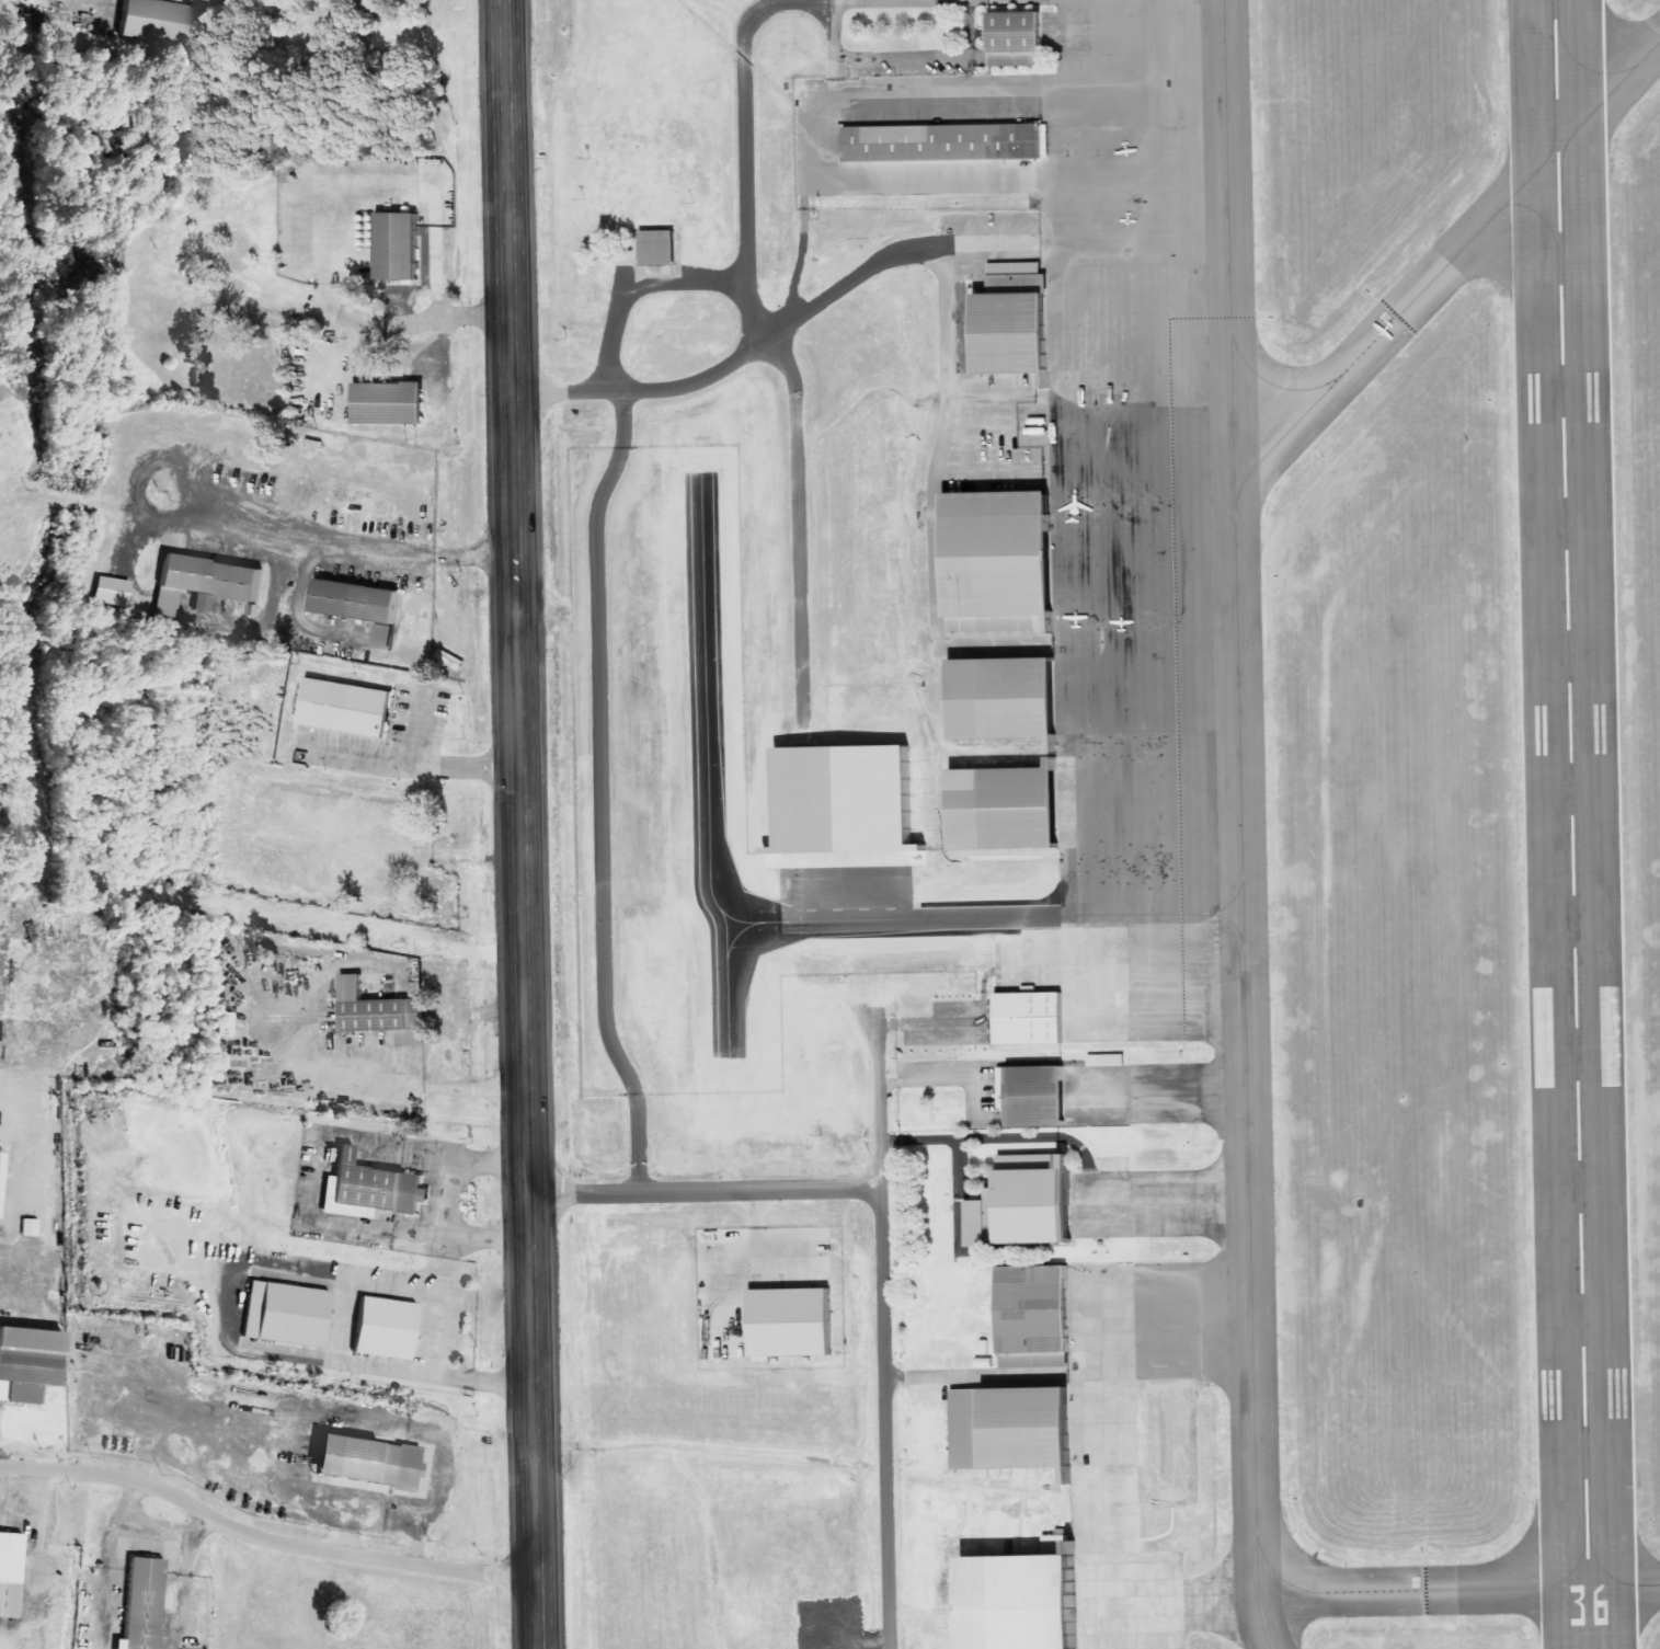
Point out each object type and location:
building: (234, 1)
building: (164, 21)
road: (835, 38)
airport hangar: (1017, 38)
building: (1017, 38)
road: (909, 58)
airport taxiway: (1609, 95)
airport hangar: (947, 142)
building: (947, 142)
building: (398, 245)
road: (989, 248)
building: (654, 249)
airport taxiway: (1396, 319)
airport hangar: (1015, 323)
building: (1015, 323)
road: (742, 358)
road: (989, 394)
building: (389, 403)
road: (980, 427)
parking lot: (992, 437)
road: (943, 444)
road: (986, 472)
airport hangar: (1001, 557)
building: (1001, 557)
building: (202, 582)
building: (116, 591)
building: (358, 599)
airport apron: (1106, 600)
building: (388, 637)
road: (994, 638)
airport hangar: (1022, 700)
building: (1022, 700)
building: (353, 708)
airport: (1157, 747)
building: (851, 808)
building: (1014, 808)
road: (524, 824)
airport runway: (1572, 824)
airport taxiway: (1241, 825)
building: (381, 1014)
airport hangar: (1030, 1018)
building: (1030, 1018)
building: (228, 1024)
road: (929, 1024)
building: (1106, 1061)
road: (945, 1083)
airport hangar: (1033, 1096)
building: (1033, 1096)
road: (879, 1099)
road: (994, 1138)
road: (977, 1177)
building: (375, 1183)
building: (3, 1188)
road: (961, 1195)
airport hangar: (1030, 1207)
building: (1030, 1207)
building: (33, 1227)
road: (972, 1238)
road: (881, 1244)
building: (291, 1313)
airport hangar: (1033, 1317)
building: (1033, 1317)
building: (798, 1324)
building: (385, 1326)
building: (27, 1361)
road: (974, 1376)
building: (1006, 1428)
building: (367, 1461)
road: (260, 1539)
building: (10, 1557)
airport taxiway: (1624, 1588)
airport taxiway: (1423, 1590)
airport hangar: (1027, 1599)
building: (1027, 1599)
airport apron: (1153, 1602)
building: (142, 1603)

